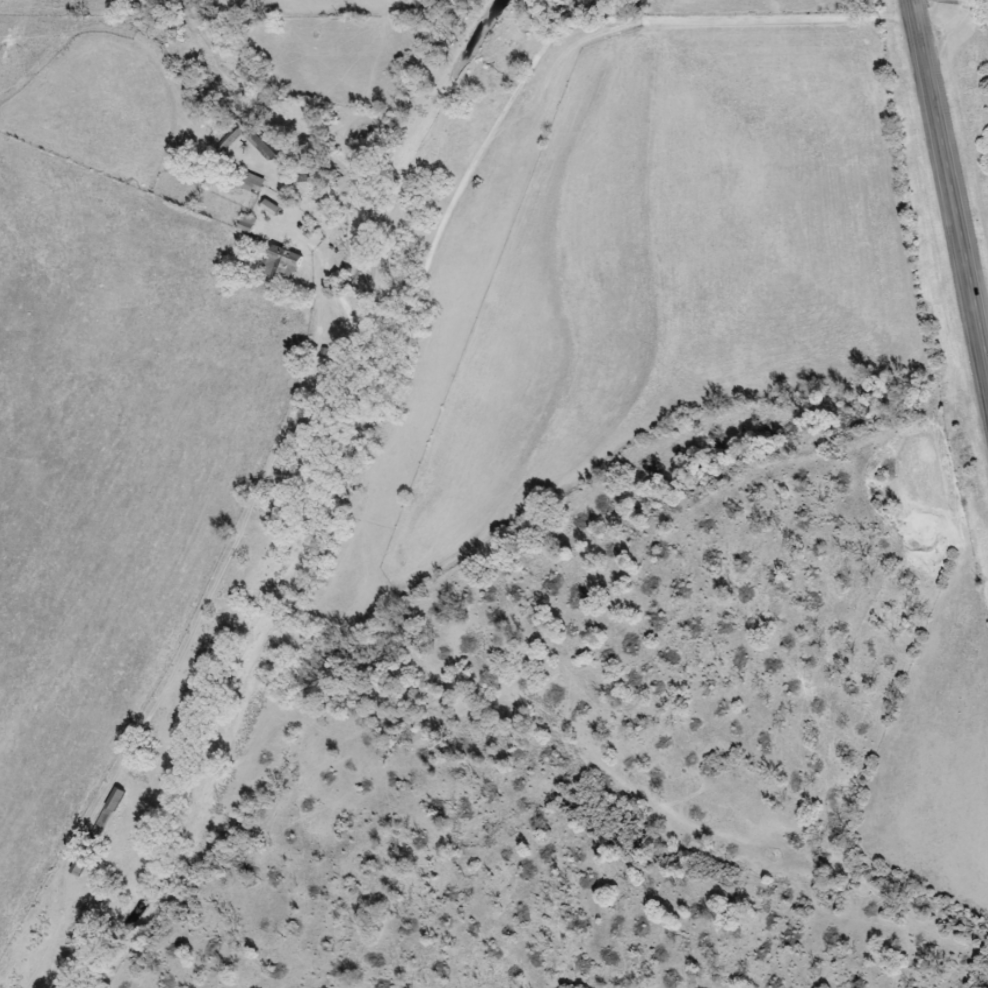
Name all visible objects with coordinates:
building: (271, 146)
building: (257, 184)
road: (949, 194)
building: (253, 224)
building: (291, 265)
building: (121, 798)

